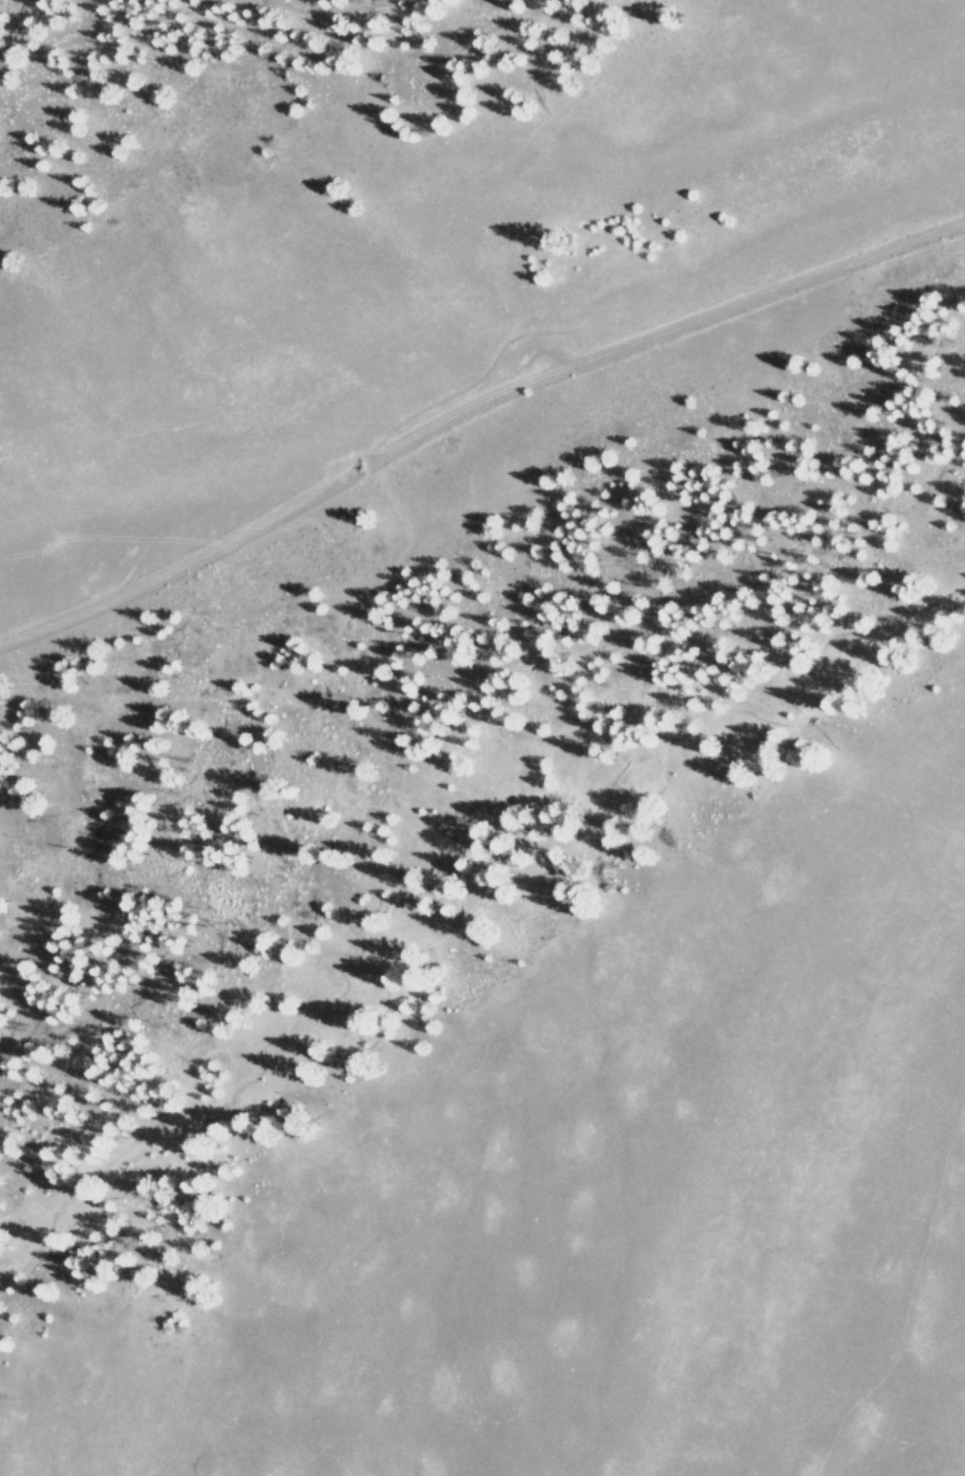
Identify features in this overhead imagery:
road: (196, 34)
road: (964, 1475)

